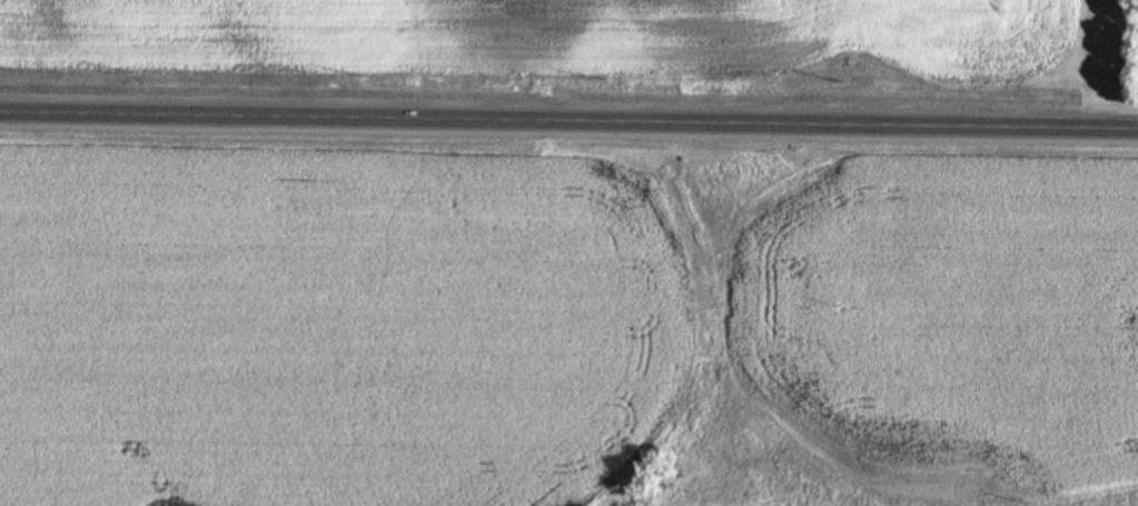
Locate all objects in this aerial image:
road: (568, 119)

